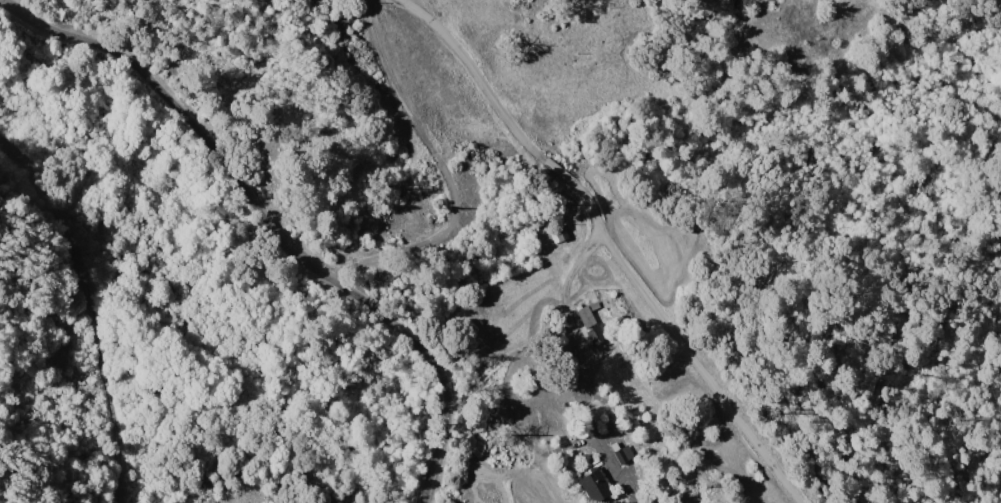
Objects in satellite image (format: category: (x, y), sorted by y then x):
road: (447, 171)
road: (272, 225)
road: (598, 227)
building: (556, 232)
road: (96, 310)
building: (584, 315)
building: (596, 332)
road: (699, 367)
road: (556, 450)
building: (622, 453)
building: (592, 485)

